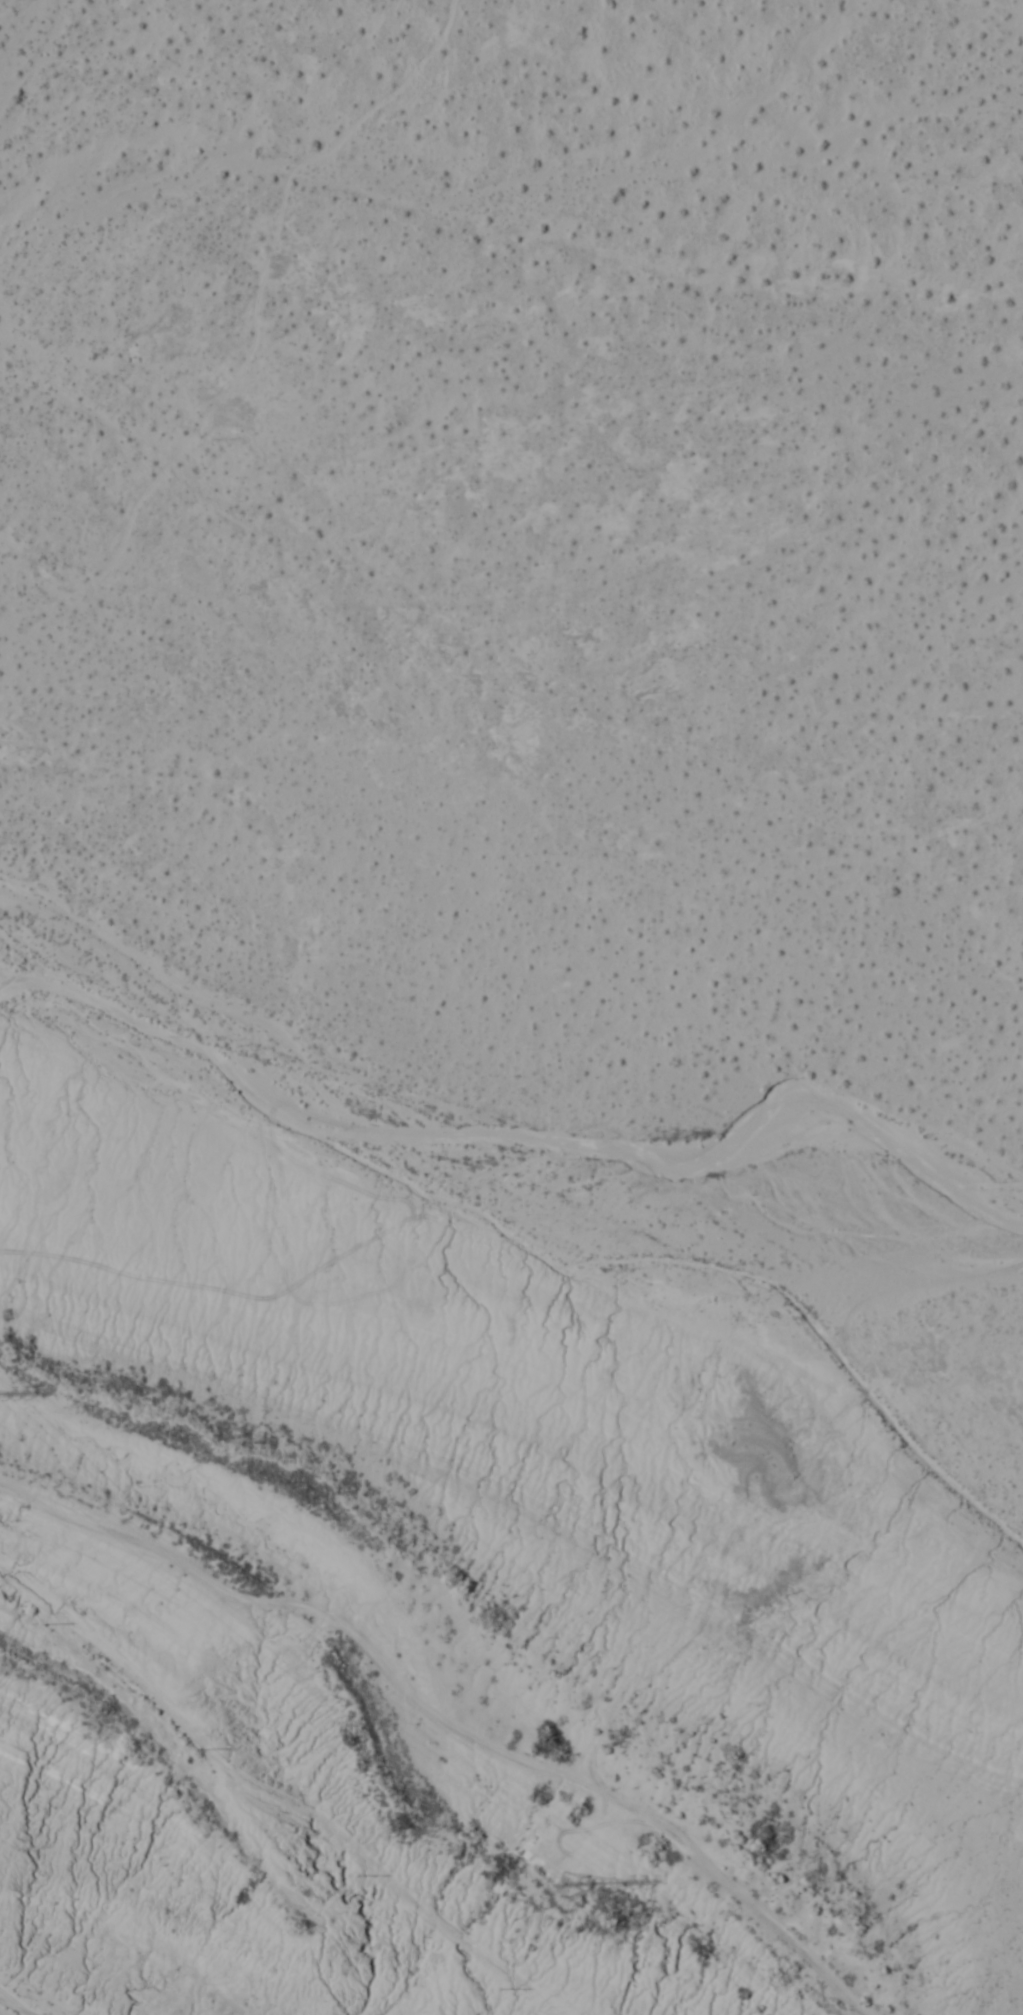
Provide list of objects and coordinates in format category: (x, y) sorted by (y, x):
power tower: (567, 1896)

